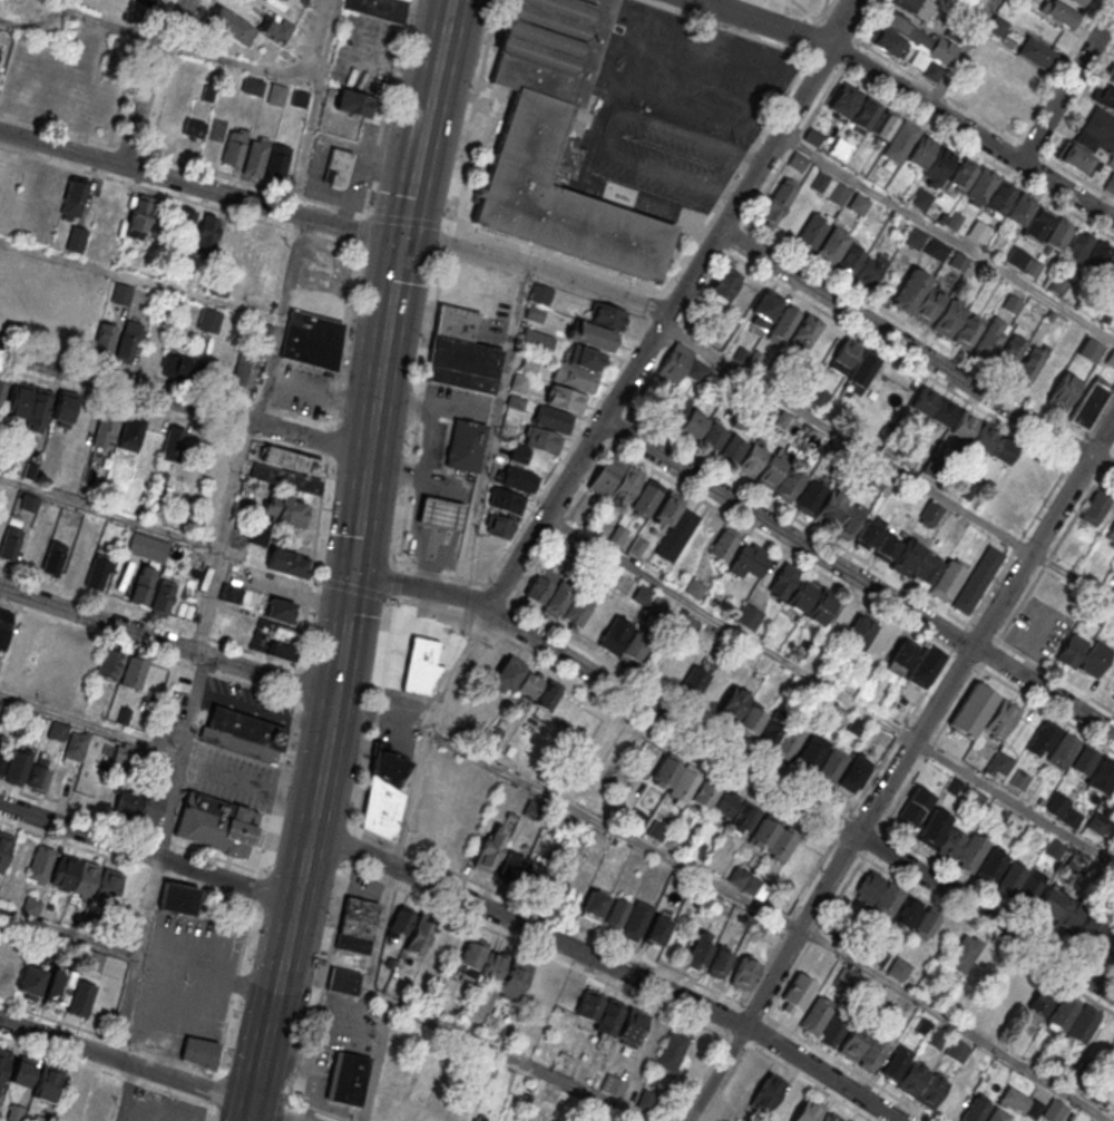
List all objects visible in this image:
building: (1078, 2)
park: (798, 7)
building: (378, 8)
building: (913, 8)
building: (1062, 14)
road: (35, 23)
building: (231, 26)
building: (997, 27)
building: (278, 28)
building: (909, 38)
building: (985, 46)
road: (960, 52)
building: (114, 53)
building: (1030, 60)
road: (234, 62)
building: (932, 71)
building: (1111, 78)
road: (146, 79)
building: (253, 86)
road: (1067, 87)
building: (1012, 88)
building: (277, 94)
road: (910, 96)
building: (1105, 96)
road: (311, 100)
building: (843, 100)
building: (353, 103)
building: (866, 114)
building: (885, 124)
road: (613, 126)
building: (193, 127)
building: (1097, 131)
building: (812, 136)
building: (558, 144)
building: (910, 145)
building: (235, 147)
building: (256, 156)
building: (1075, 158)
building: (278, 162)
building: (798, 163)
building: (939, 165)
building: (336, 168)
building: (1110, 183)
building: (52, 184)
road: (201, 186)
building: (830, 189)
building: (74, 197)
building: (1001, 199)
building: (778, 203)
building: (117, 211)
building: (139, 216)
road: (1113, 220)
building: (186, 221)
building: (207, 231)
building: (978, 232)
building: (1059, 234)
building: (809, 235)
road: (947, 235)
building: (76, 238)
traffic signals: (403, 238)
building: (829, 246)
building: (935, 248)
building: (1077, 248)
building: (1017, 257)
building: (1098, 259)
building: (958, 261)
road: (538, 265)
building: (860, 266)
road: (138, 279)
road: (439, 281)
building: (218, 285)
building: (724, 285)
building: (910, 290)
building: (539, 303)
road: (672, 304)
building: (927, 304)
building: (762, 312)
road: (277, 316)
building: (607, 316)
building: (948, 318)
building: (209, 320)
building: (783, 324)
building: (967, 330)
building: (804, 333)
building: (594, 335)
building: (104, 338)
building: (312, 340)
building: (128, 341)
building: (536, 341)
building: (987, 342)
building: (1091, 350)
building: (461, 351)
road: (916, 351)
building: (1010, 352)
building: (843, 355)
building: (584, 357)
road: (624, 359)
building: (674, 361)
building: (1029, 364)
building: (176, 365)
building: (246, 368)
building: (862, 371)
building: (574, 376)
building: (1064, 391)
building: (565, 399)
building: (925, 400)
road: (184, 402)
building: (1091, 402)
building: (29, 404)
building: (63, 409)
building: (945, 411)
building: (553, 418)
building: (692, 422)
building: (965, 425)
road: (490, 428)
building: (104, 430)
building: (131, 431)
building: (711, 436)
building: (984, 436)
road: (847, 438)
building: (543, 439)
building: (173, 443)
building: (465, 446)
building: (731, 448)
building: (1003, 450)
building: (221, 457)
building: (751, 459)
building: (287, 470)
building: (771, 471)
building: (518, 479)
building: (614, 480)
building: (789, 484)
building: (810, 497)
building: (505, 501)
building: (28, 503)
building: (830, 506)
building: (1095, 507)
building: (284, 510)
road: (107, 511)
building: (439, 514)
building: (930, 514)
building: (849, 517)
building: (599, 527)
building: (498, 528)
building: (0, 529)
building: (676, 534)
building: (868, 534)
road: (216, 535)
building: (1111, 535)
building: (617, 536)
road: (315, 537)
building: (10, 544)
building: (723, 544)
building: (147, 547)
building: (886, 547)
building: (31, 550)
building: (906, 557)
building: (53, 558)
road: (355, 560)
building: (750, 560)
building: (289, 563)
building: (98, 572)
traffic signals: (354, 575)
road: (858, 577)
road: (1073, 577)
building: (978, 578)
building: (947, 579)
building: (784, 581)
building: (143, 586)
road: (423, 588)
building: (801, 593)
building: (231, 594)
building: (163, 597)
road: (296, 597)
building: (557, 597)
building: (822, 605)
building: (576, 607)
building: (280, 610)
building: (4, 625)
road: (731, 628)
parking lot: (1038, 628)
building: (861, 631)
building: (615, 635)
building: (21, 636)
building: (275, 640)
road: (167, 643)
building: (881, 643)
building: (1072, 651)
building: (902, 655)
building: (1095, 659)
building: (109, 663)
building: (420, 664)
building: (925, 666)
building: (145, 674)
building: (694, 682)
building: (527, 685)
building: (1113, 696)
building: (732, 704)
building: (899, 708)
road: (262, 710)
building: (973, 710)
building: (1001, 718)
building: (751, 720)
road: (89, 723)
building: (57, 730)
building: (782, 733)
building: (243, 734)
building: (1043, 738)
building: (78, 740)
building: (1063, 750)
building: (123, 752)
building: (812, 752)
building: (2, 760)
building: (1084, 760)
building: (1000, 762)
building: (18, 764)
road: (897, 768)
building: (843, 770)
building: (42, 771)
building: (1102, 776)
building: (1020, 779)
road: (261, 784)
building: (684, 787)
building: (383, 791)
road: (802, 802)
road: (1014, 802)
building: (1056, 803)
building: (138, 806)
building: (915, 807)
building: (1072, 818)
building: (744, 819)
building: (1097, 822)
building: (217, 826)
building: (934, 827)
road: (613, 828)
building: (657, 830)
building: (763, 832)
building: (673, 840)
building: (781, 844)
building: (950, 844)
building: (4, 846)
building: (491, 848)
building: (694, 848)
building: (970, 852)
road: (148, 854)
road: (155, 855)
building: (800, 859)
building: (41, 862)
road: (390, 865)
building: (989, 867)
building: (65, 871)
building: (522, 871)
building: (737, 876)
building: (86, 878)
building: (1009, 881)
building: (107, 885)
building: (752, 886)
building: (868, 888)
building: (130, 893)
building: (178, 898)
building: (594, 906)
building: (898, 907)
building: (617, 912)
building: (1069, 915)
building: (635, 920)
building: (356, 924)
building: (926, 924)
building: (656, 929)
building: (410, 932)
road: (67, 934)
building: (1107, 943)
building: (700, 951)
building: (962, 953)
building: (94, 961)
building: (720, 962)
road: (455, 963)
building: (481, 964)
road: (609, 965)
building: (899, 968)
building: (743, 973)
parking lot: (187, 976)
building: (31, 981)
building: (343, 981)
building: (514, 982)
road: (188, 985)
building: (541, 987)
building: (57, 988)
building: (798, 991)
building: (1030, 995)
building: (81, 996)
building: (1064, 1011)
building: (980, 1014)
building: (613, 1017)
building: (814, 1017)
building: (1083, 1023)
road: (956, 1024)
building: (834, 1030)
road: (107, 1036)
building: (937, 1036)
road: (324, 1039)
building: (853, 1042)
building: (672, 1049)
building: (957, 1050)
building: (201, 1052)
building: (873, 1054)
road: (126, 1061)
building: (897, 1062)
building: (3, 1063)
road: (516, 1063)
building: (23, 1070)
road: (120, 1075)
building: (348, 1078)
building: (911, 1079)
building: (742, 1081)
building: (48, 1082)
building: (769, 1091)
building: (930, 1091)
road: (126, 1092)
building: (1015, 1101)
building: (101, 1102)
parking lot: (162, 1107)
building: (785, 1107)
road: (221, 1110)
building: (809, 1110)
building: (975, 1110)
building: (1055, 1110)
road: (326, 1111)
building: (413, 1112)
building: (14, 1113)
road: (270, 1113)
building: (997, 1115)
building: (828, 1118)
building: (39, 1119)
building: (478, 1119)

